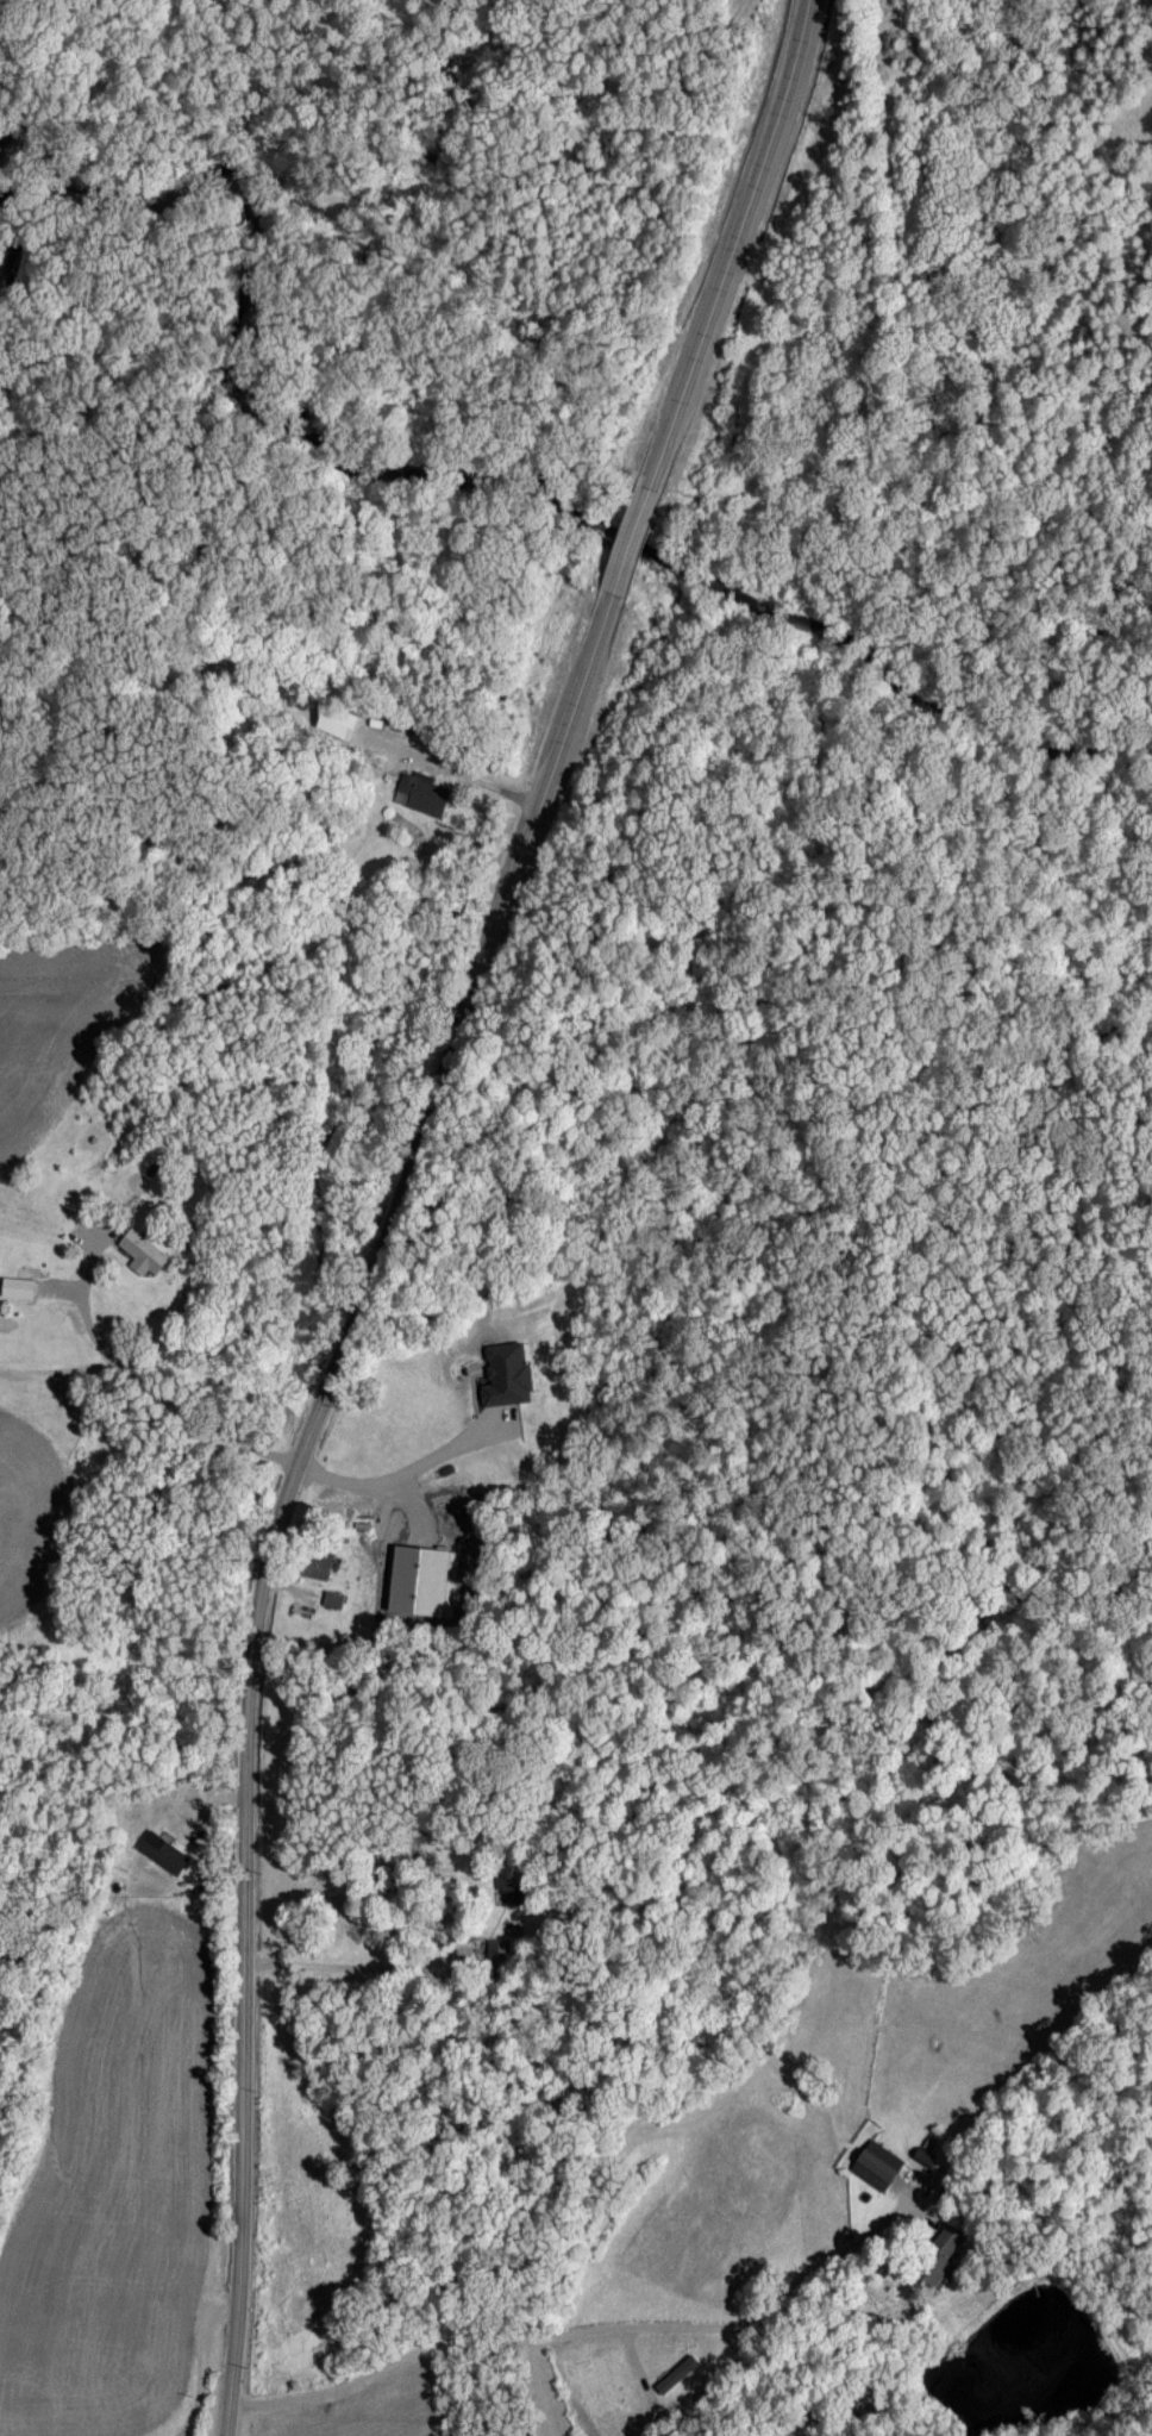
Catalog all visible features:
road: (452, 769)
building: (421, 792)
road: (411, 1199)
building: (140, 1250)
building: (15, 1285)
building: (505, 1373)
road: (143, 1383)
road: (397, 1475)
building: (314, 1561)
building: (332, 1597)
building: (161, 1850)
road: (348, 1963)
building: (926, 2151)
building: (876, 2163)
road: (593, 2325)
road: (201, 2362)
building: (675, 2373)

